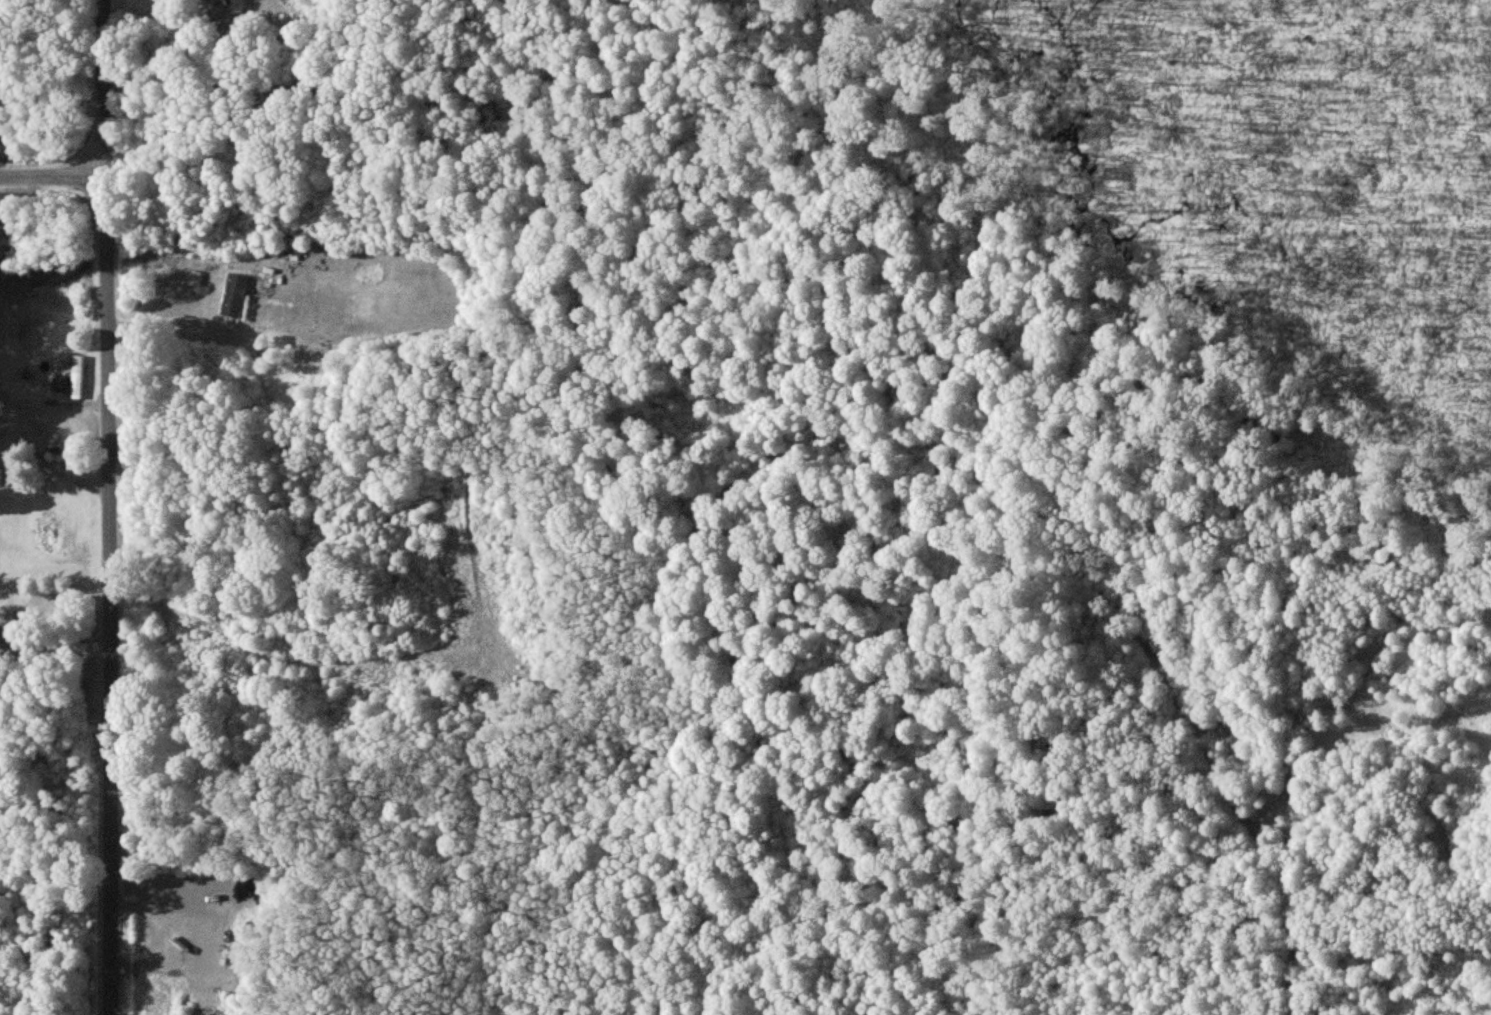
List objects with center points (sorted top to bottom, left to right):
building: (236, 5)
road: (55, 177)
building: (195, 277)
building: (235, 294)
building: (71, 379)
road: (111, 507)

